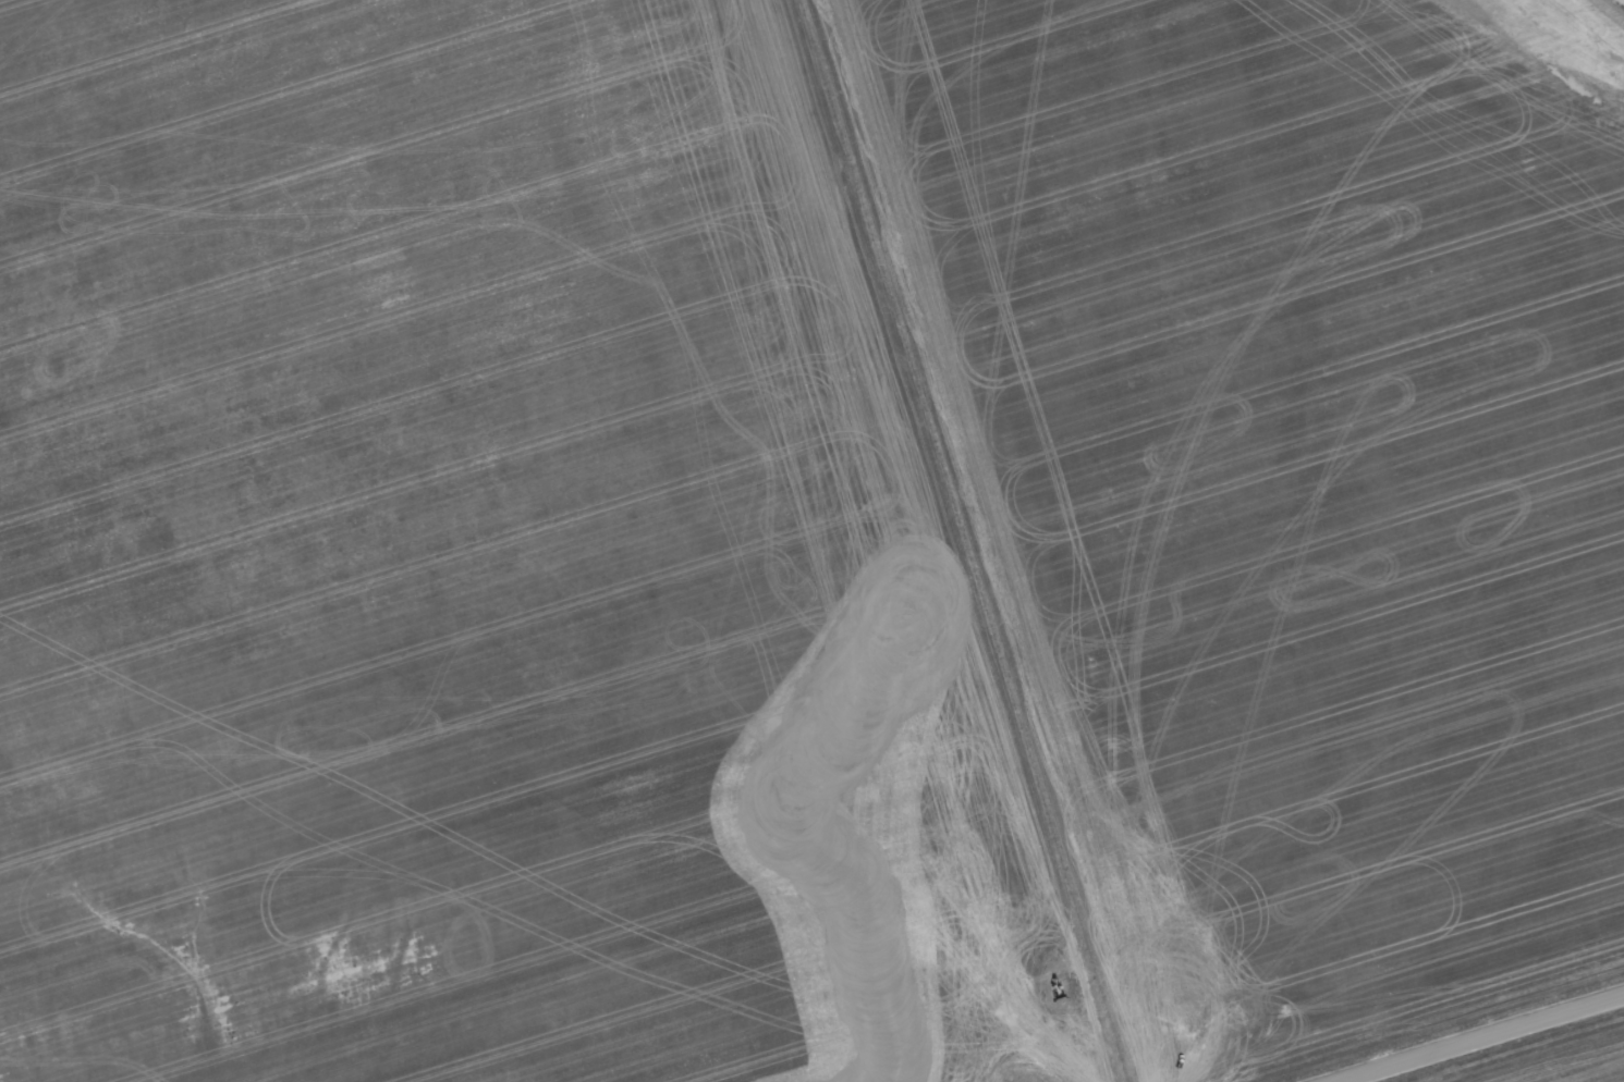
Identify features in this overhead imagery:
road: (1473, 1035)

